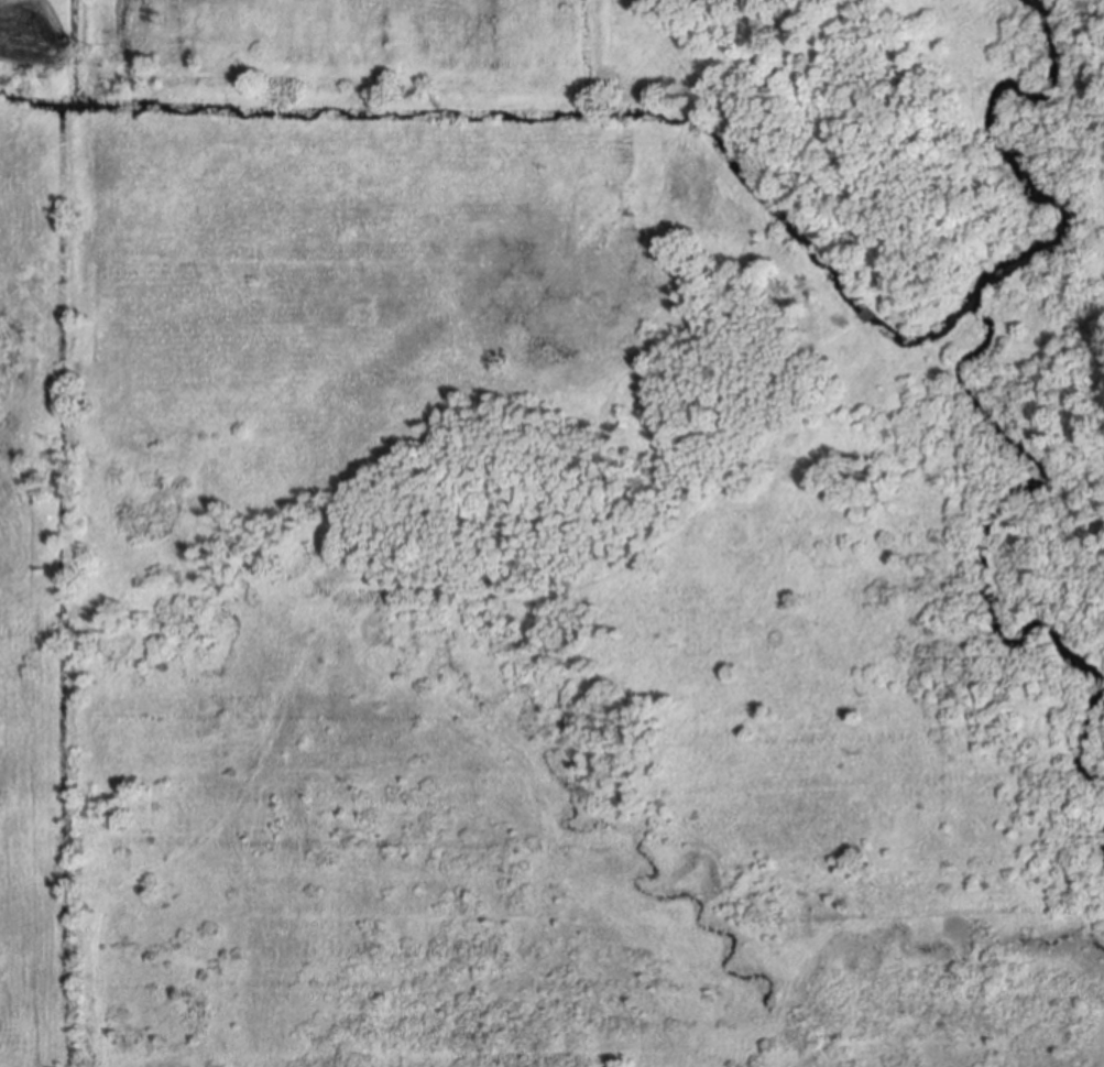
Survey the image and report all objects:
river: (732, 154)

